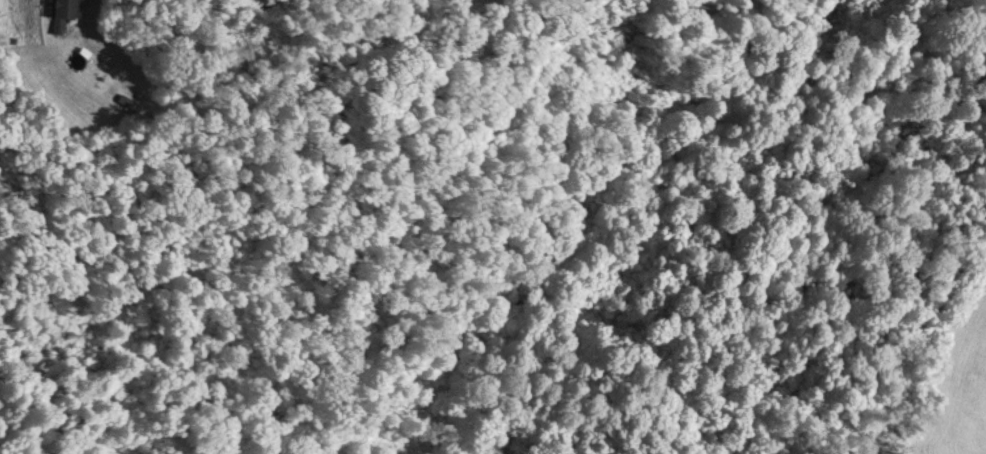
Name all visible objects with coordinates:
building: (57, 9)

